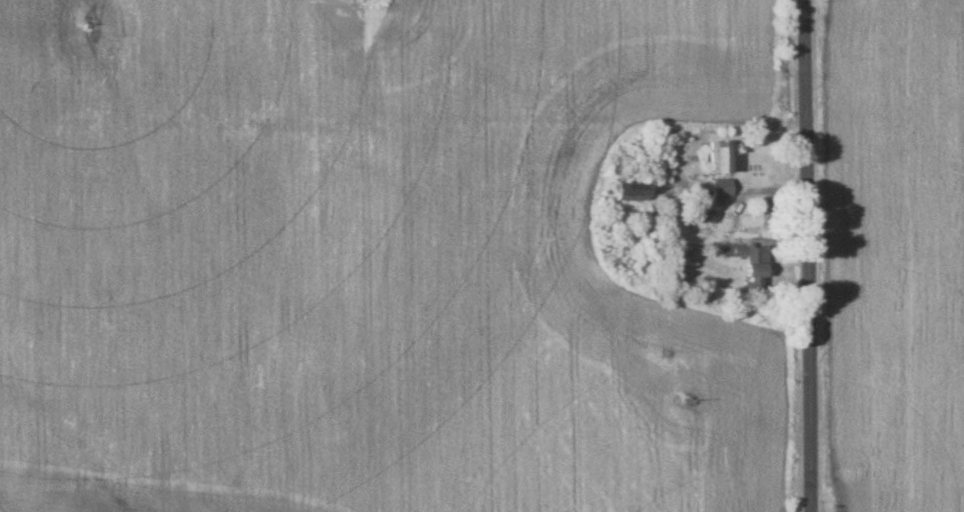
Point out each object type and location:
building: (718, 155)
building: (720, 186)
building: (626, 188)
road: (808, 256)
building: (748, 262)

